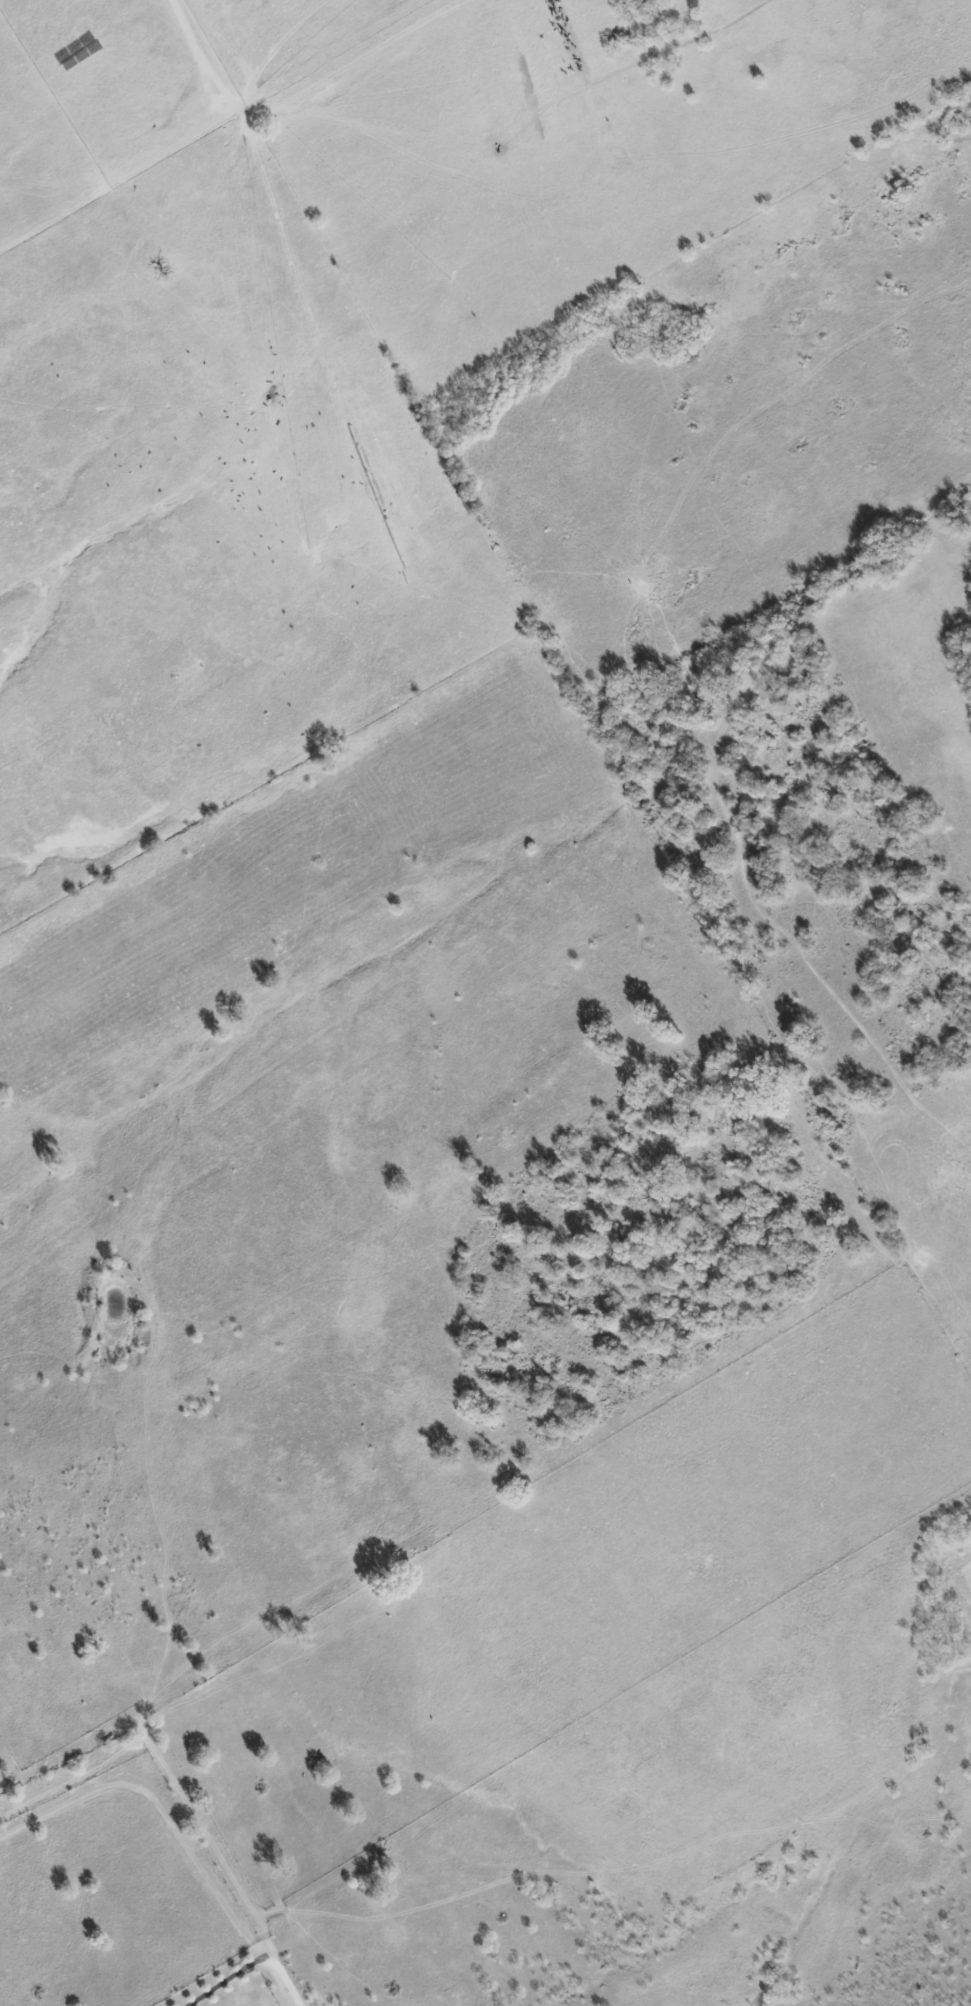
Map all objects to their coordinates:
road: (157, 1804)
road: (226, 1977)
road: (284, 1982)

